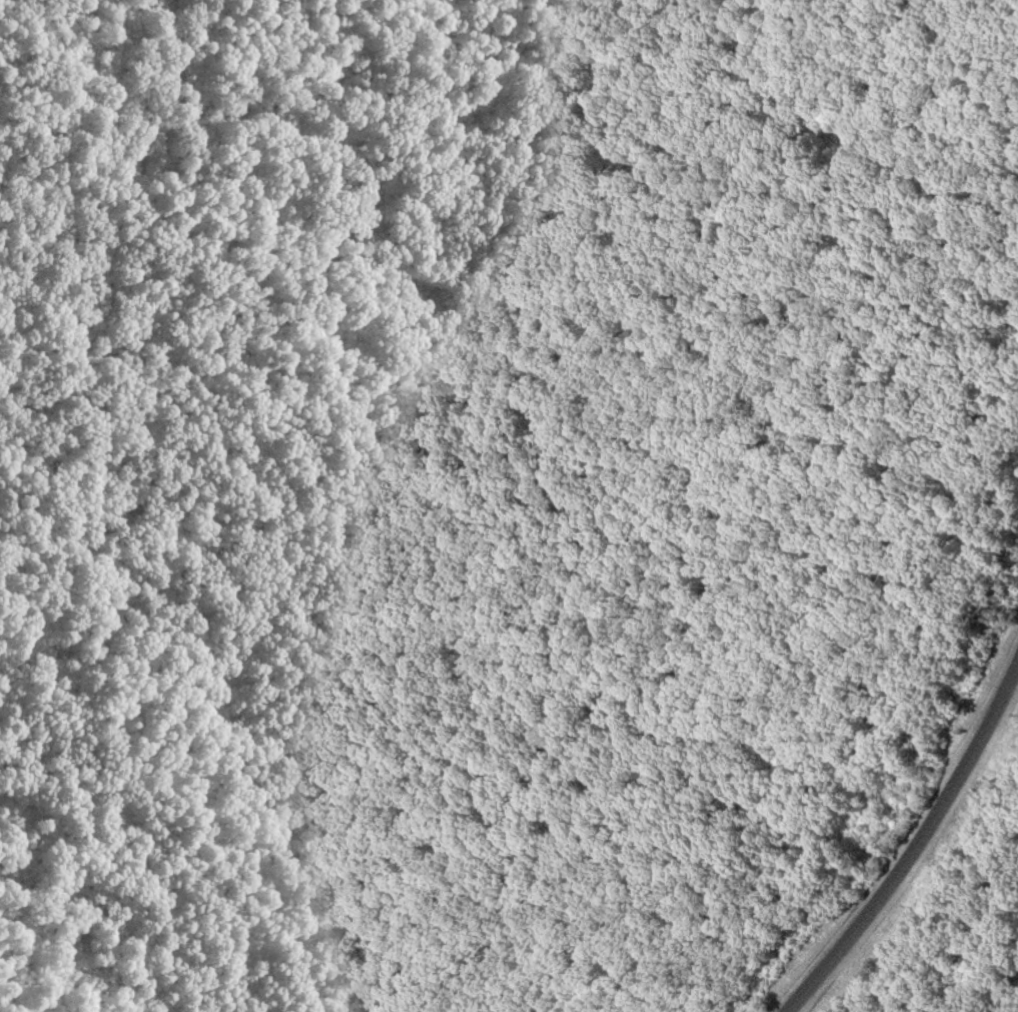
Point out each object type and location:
road: (916, 847)
road: (1010, 997)

